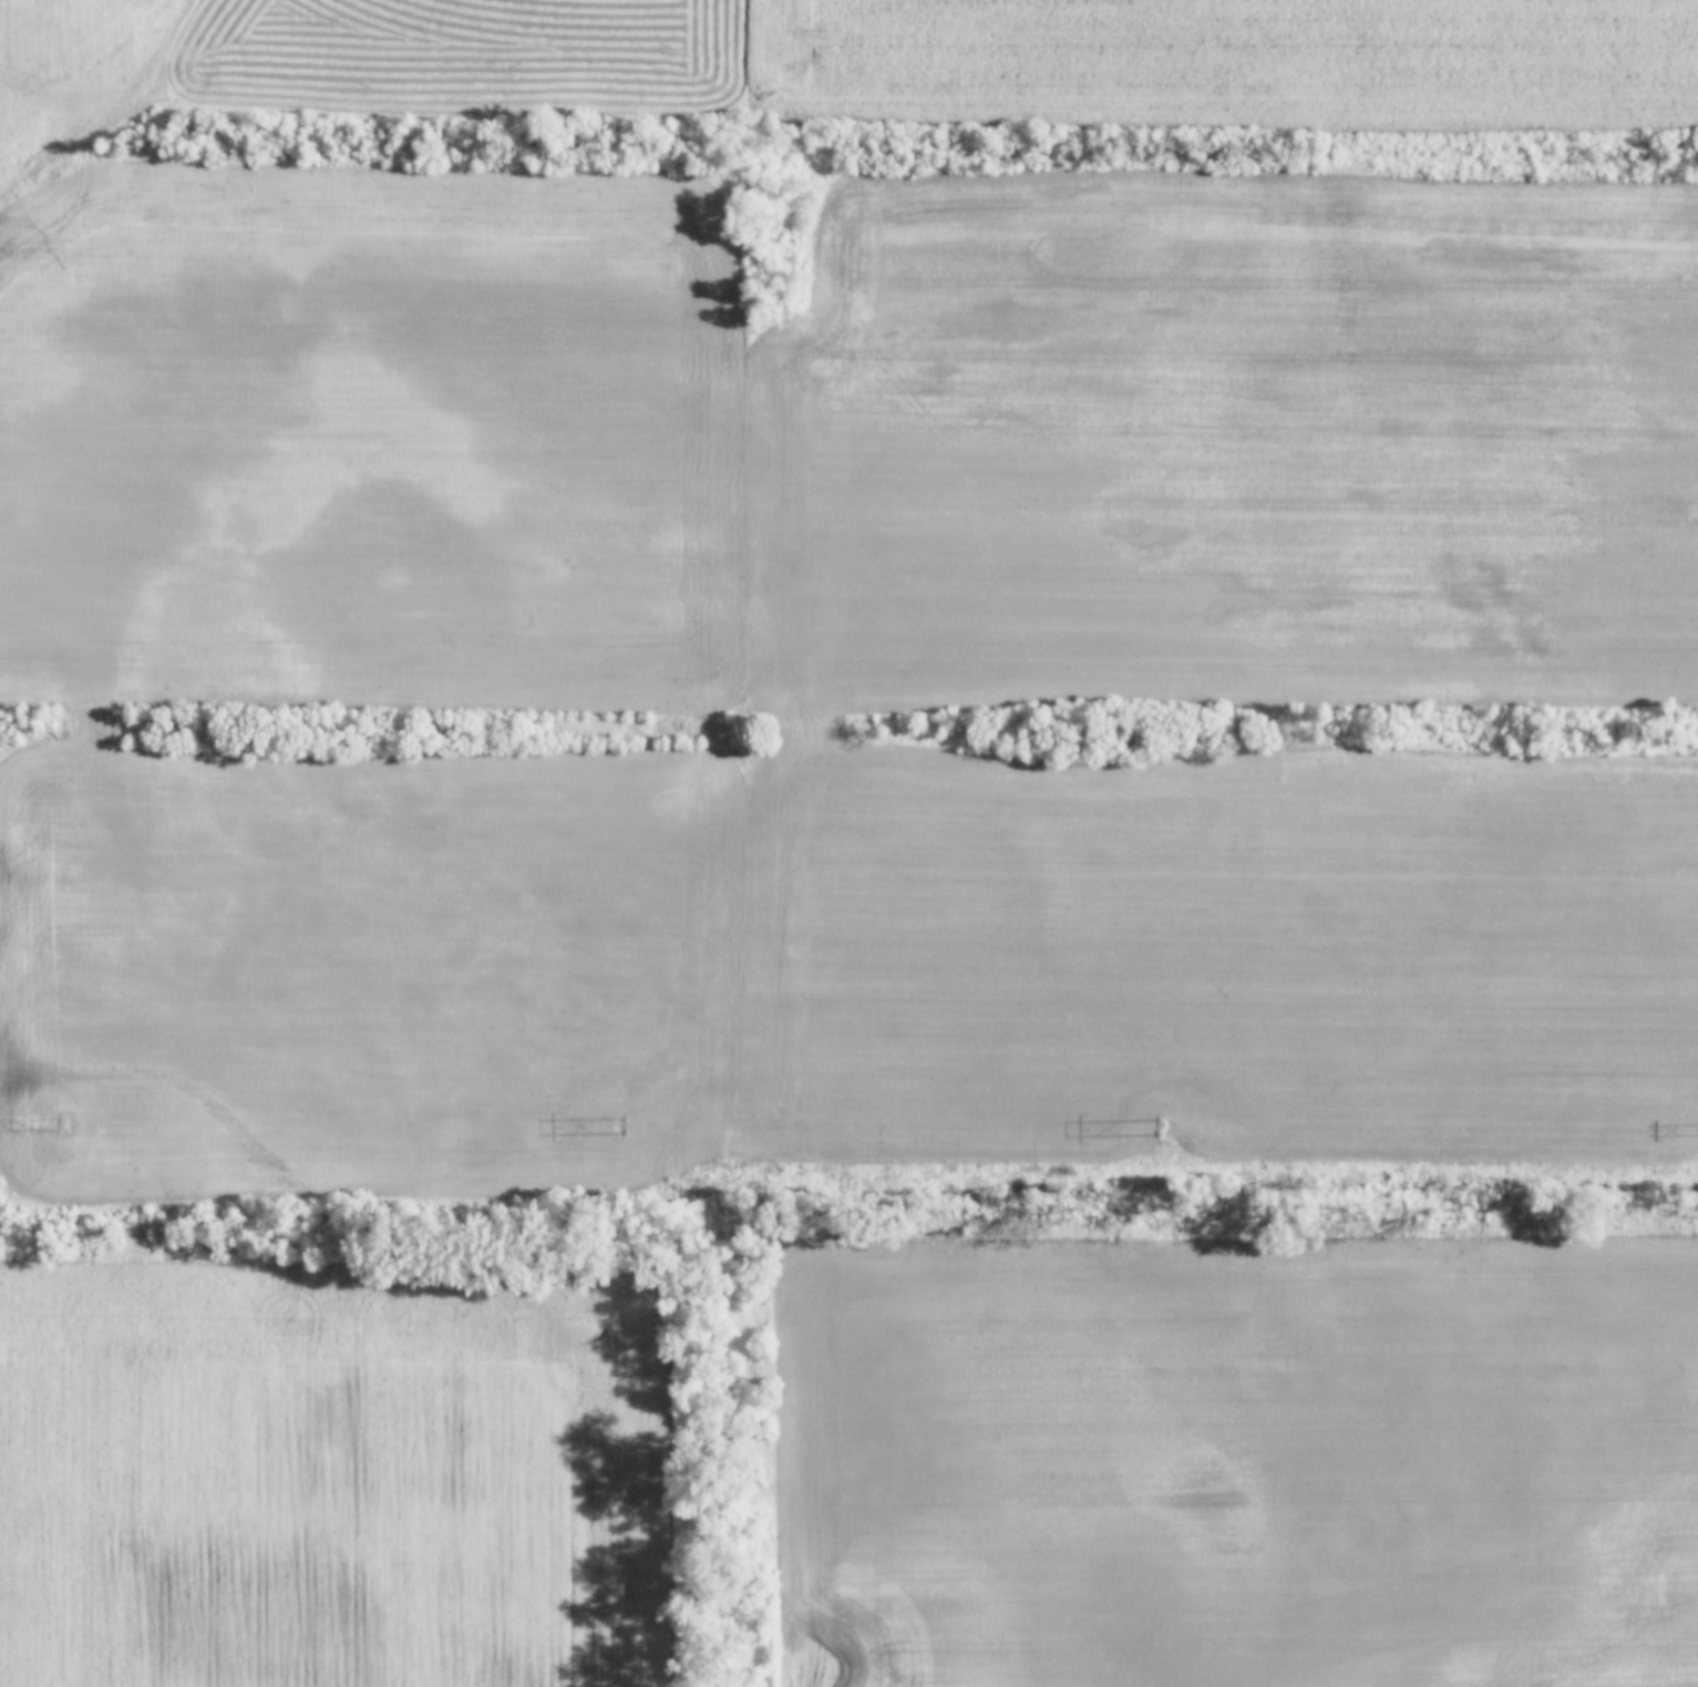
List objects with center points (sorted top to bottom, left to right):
power tower: (61, 1124)
power tower: (618, 1127)
power tower: (1166, 1129)

